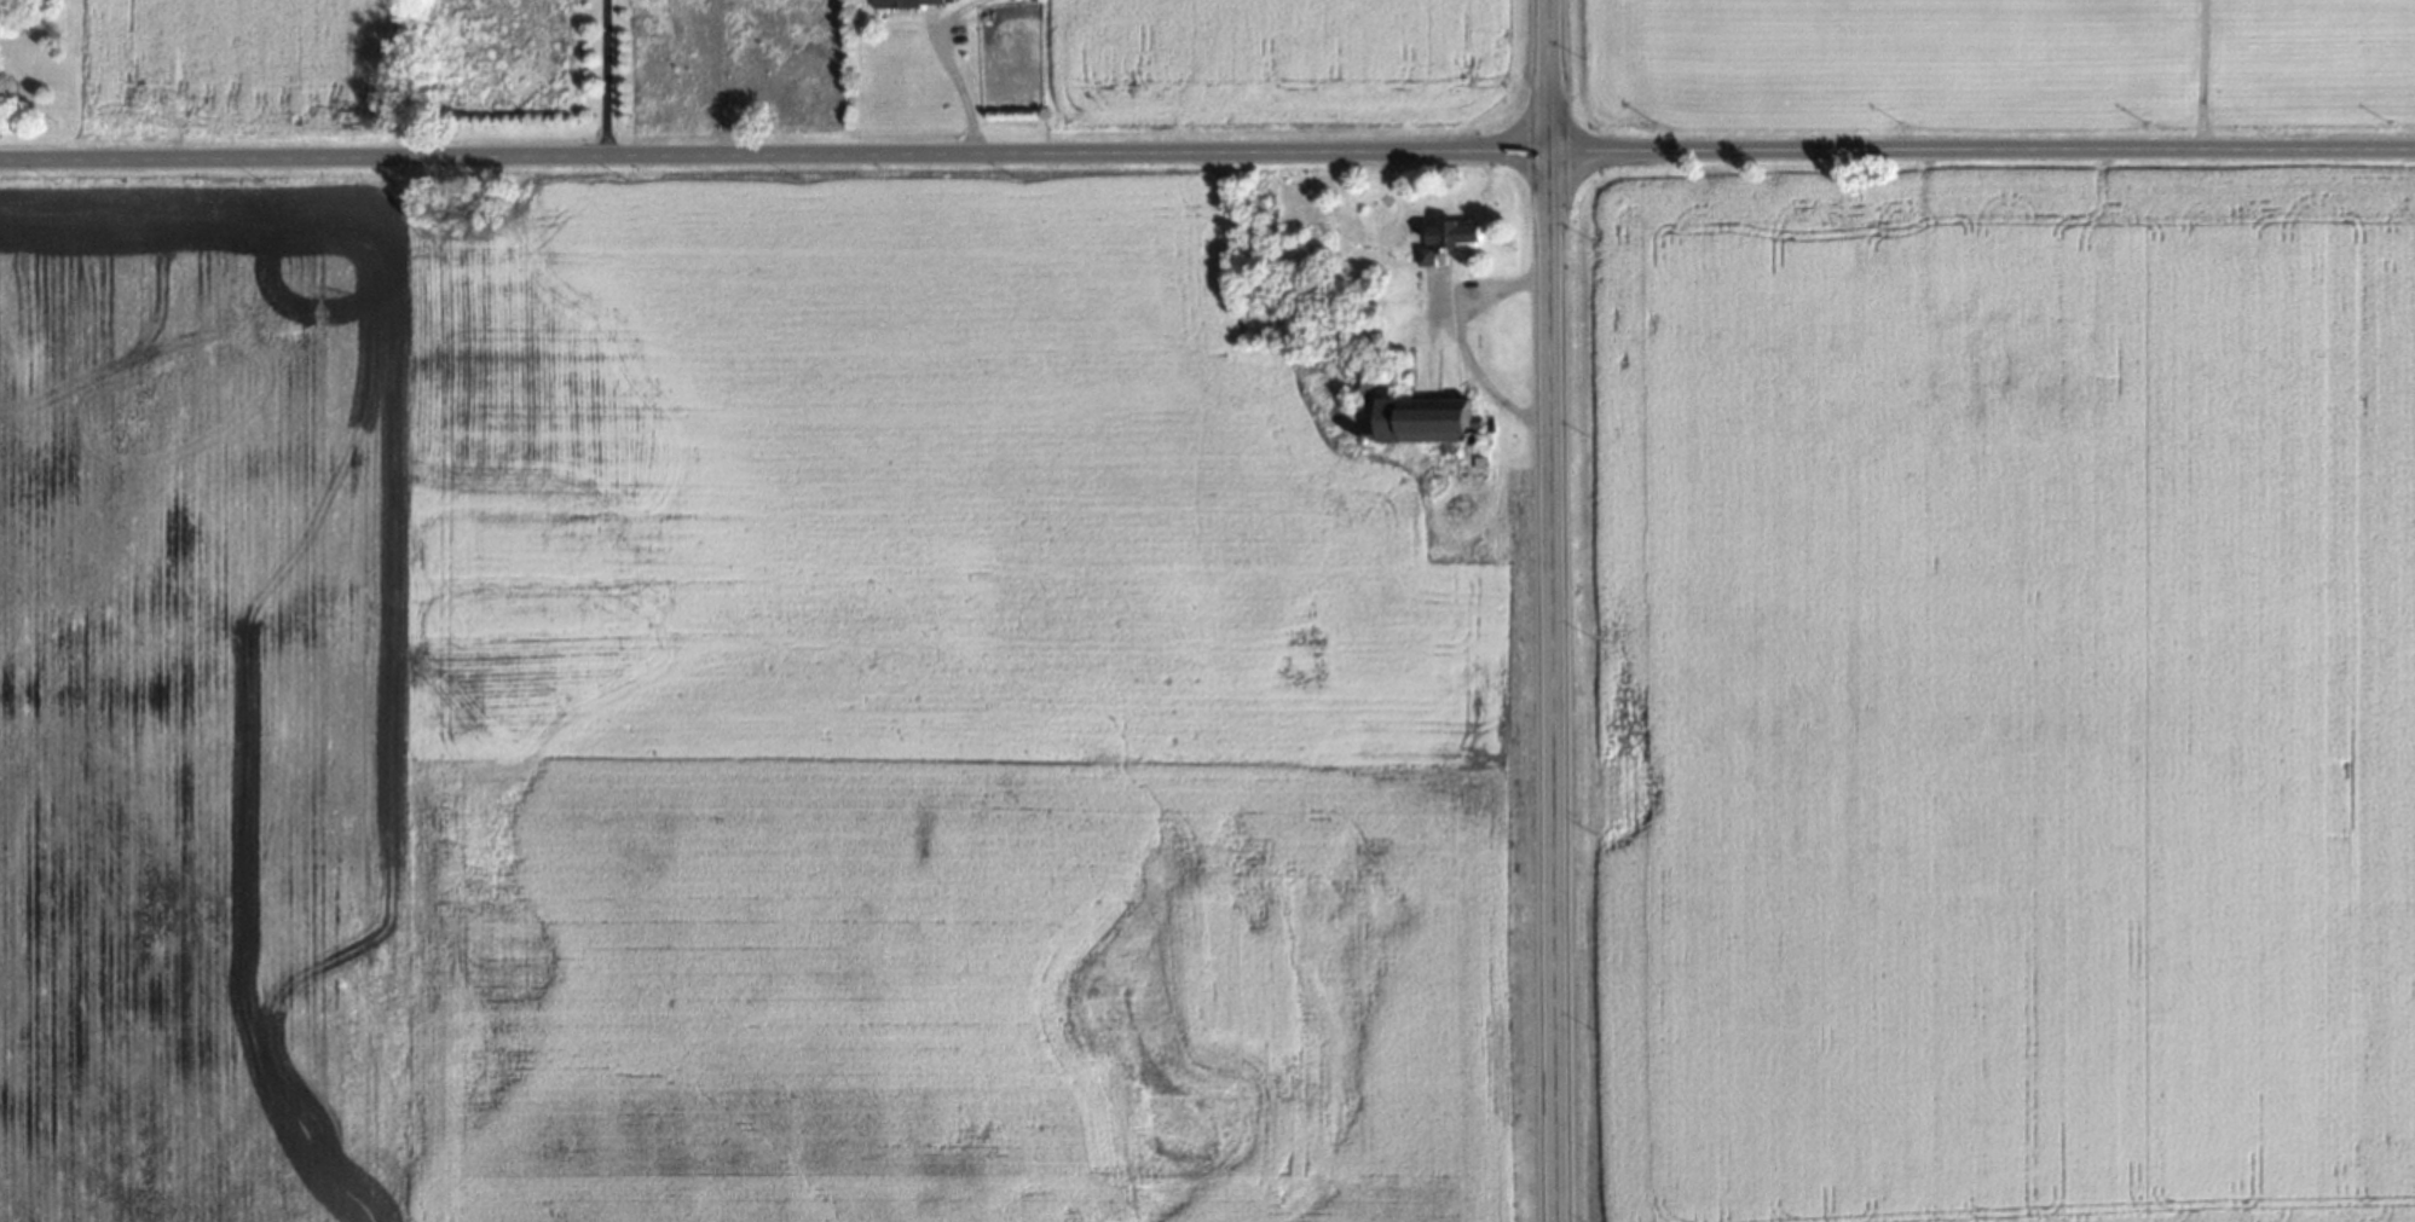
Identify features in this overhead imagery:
building: (912, 1)
road: (605, 77)
road: (1207, 151)
building: (1457, 231)
building: (1427, 255)
building: (1360, 378)
building: (1429, 416)
road: (1553, 610)

